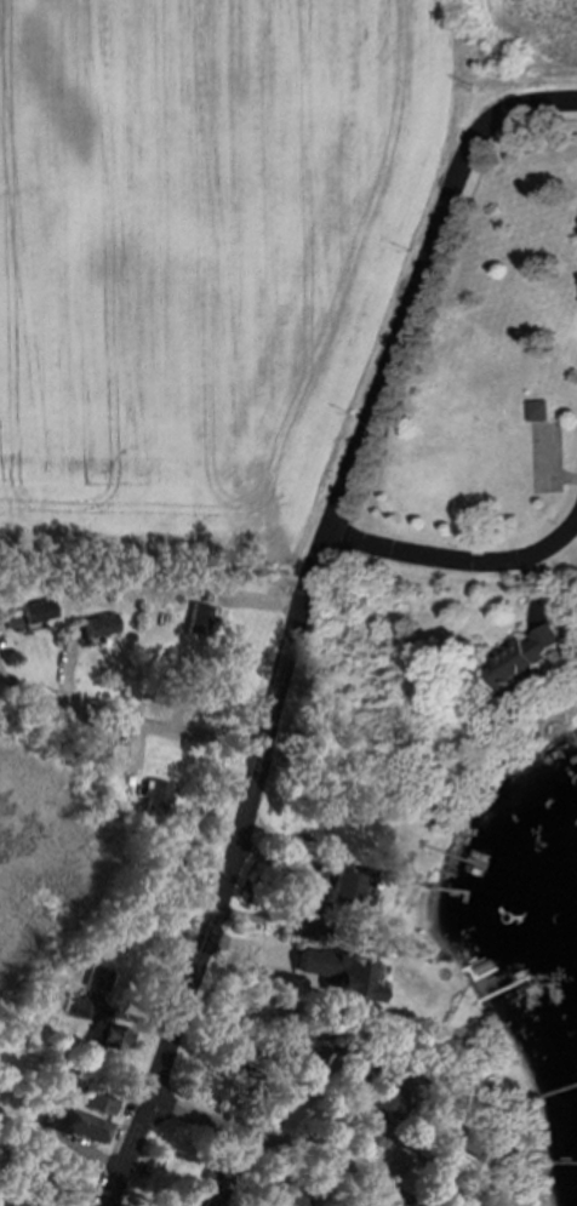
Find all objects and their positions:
building: (539, 411)
road: (457, 562)
building: (32, 613)
road: (296, 616)
building: (195, 619)
building: (98, 625)
building: (532, 655)
road: (130, 720)
building: (158, 795)
building: (345, 890)
building: (308, 930)
building: (341, 973)
building: (115, 1038)
building: (309, 1050)
building: (470, 1093)
building: (384, 1094)
building: (101, 1103)
building: (80, 1124)
building: (369, 1133)
road: (269, 1142)
building: (475, 1148)
building: (79, 1162)
road: (396, 1164)
building: (427, 1167)
building: (288, 1194)
building: (465, 1198)
building: (18, 1204)

